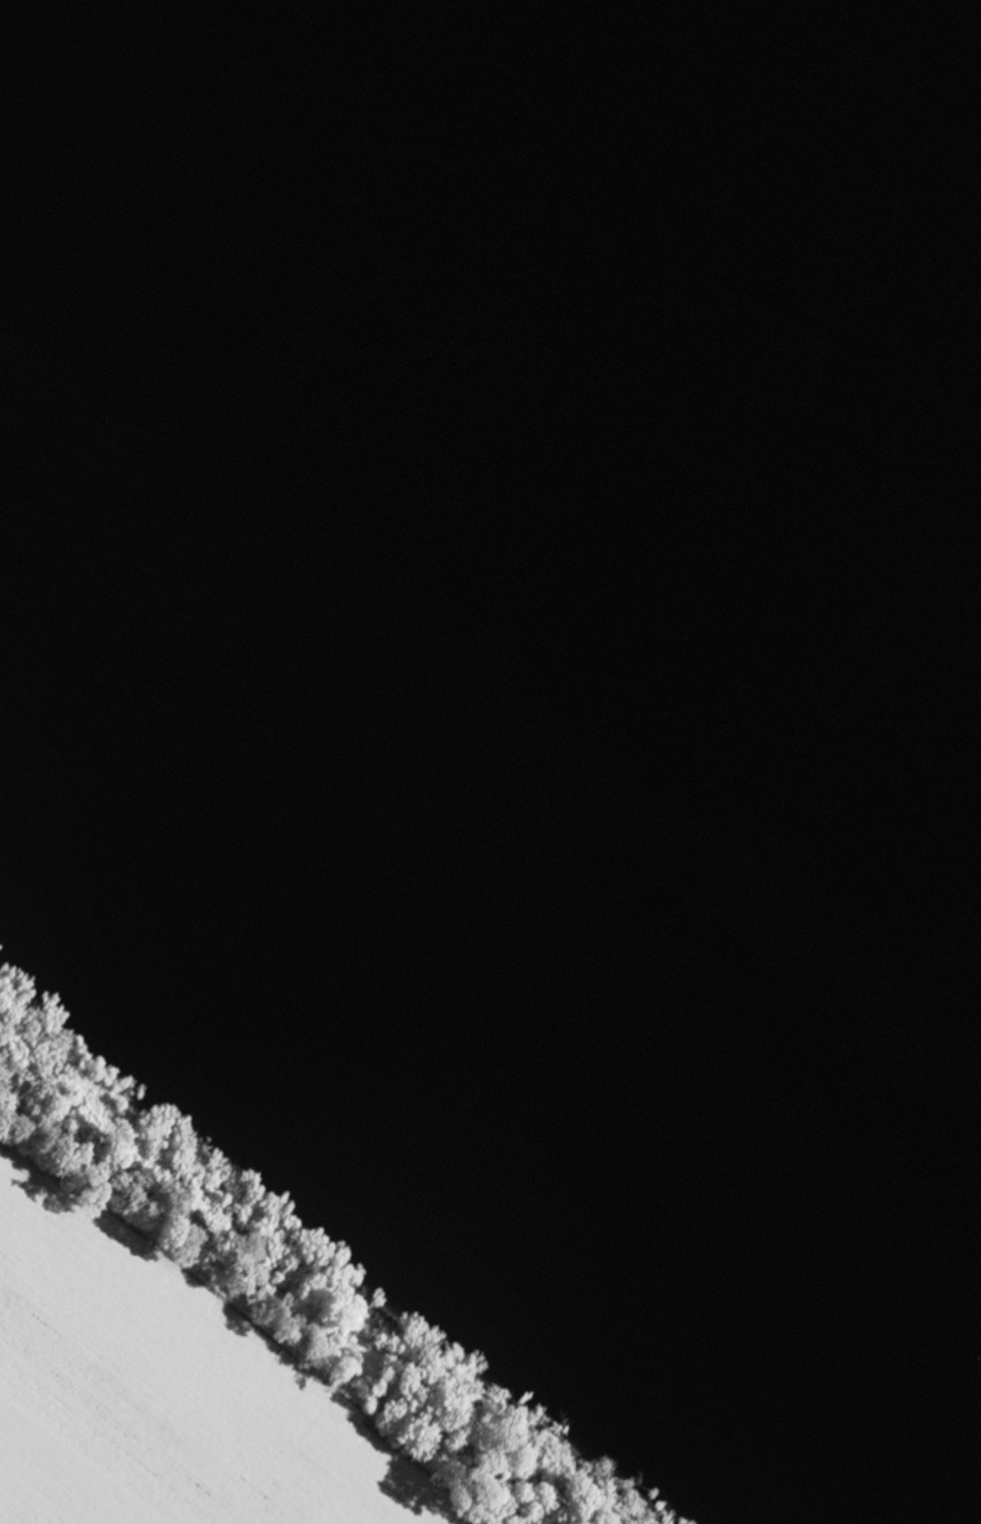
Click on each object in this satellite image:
river: (859, 98)

